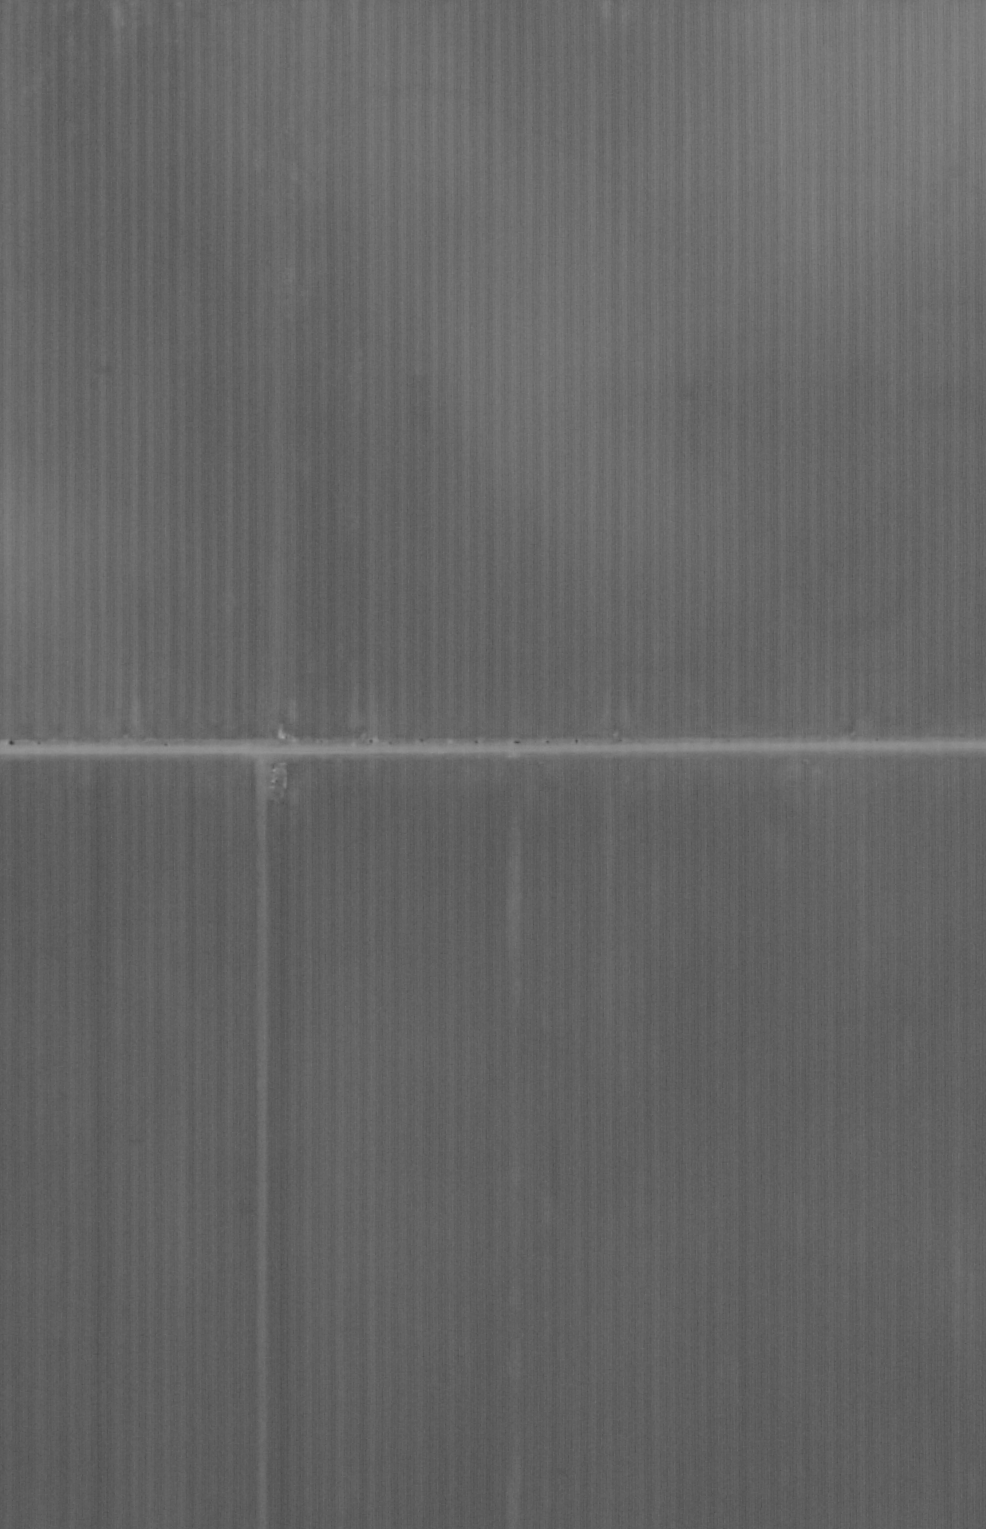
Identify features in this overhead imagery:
crop: (492, 377)
road: (493, 752)
crop: (493, 1142)

